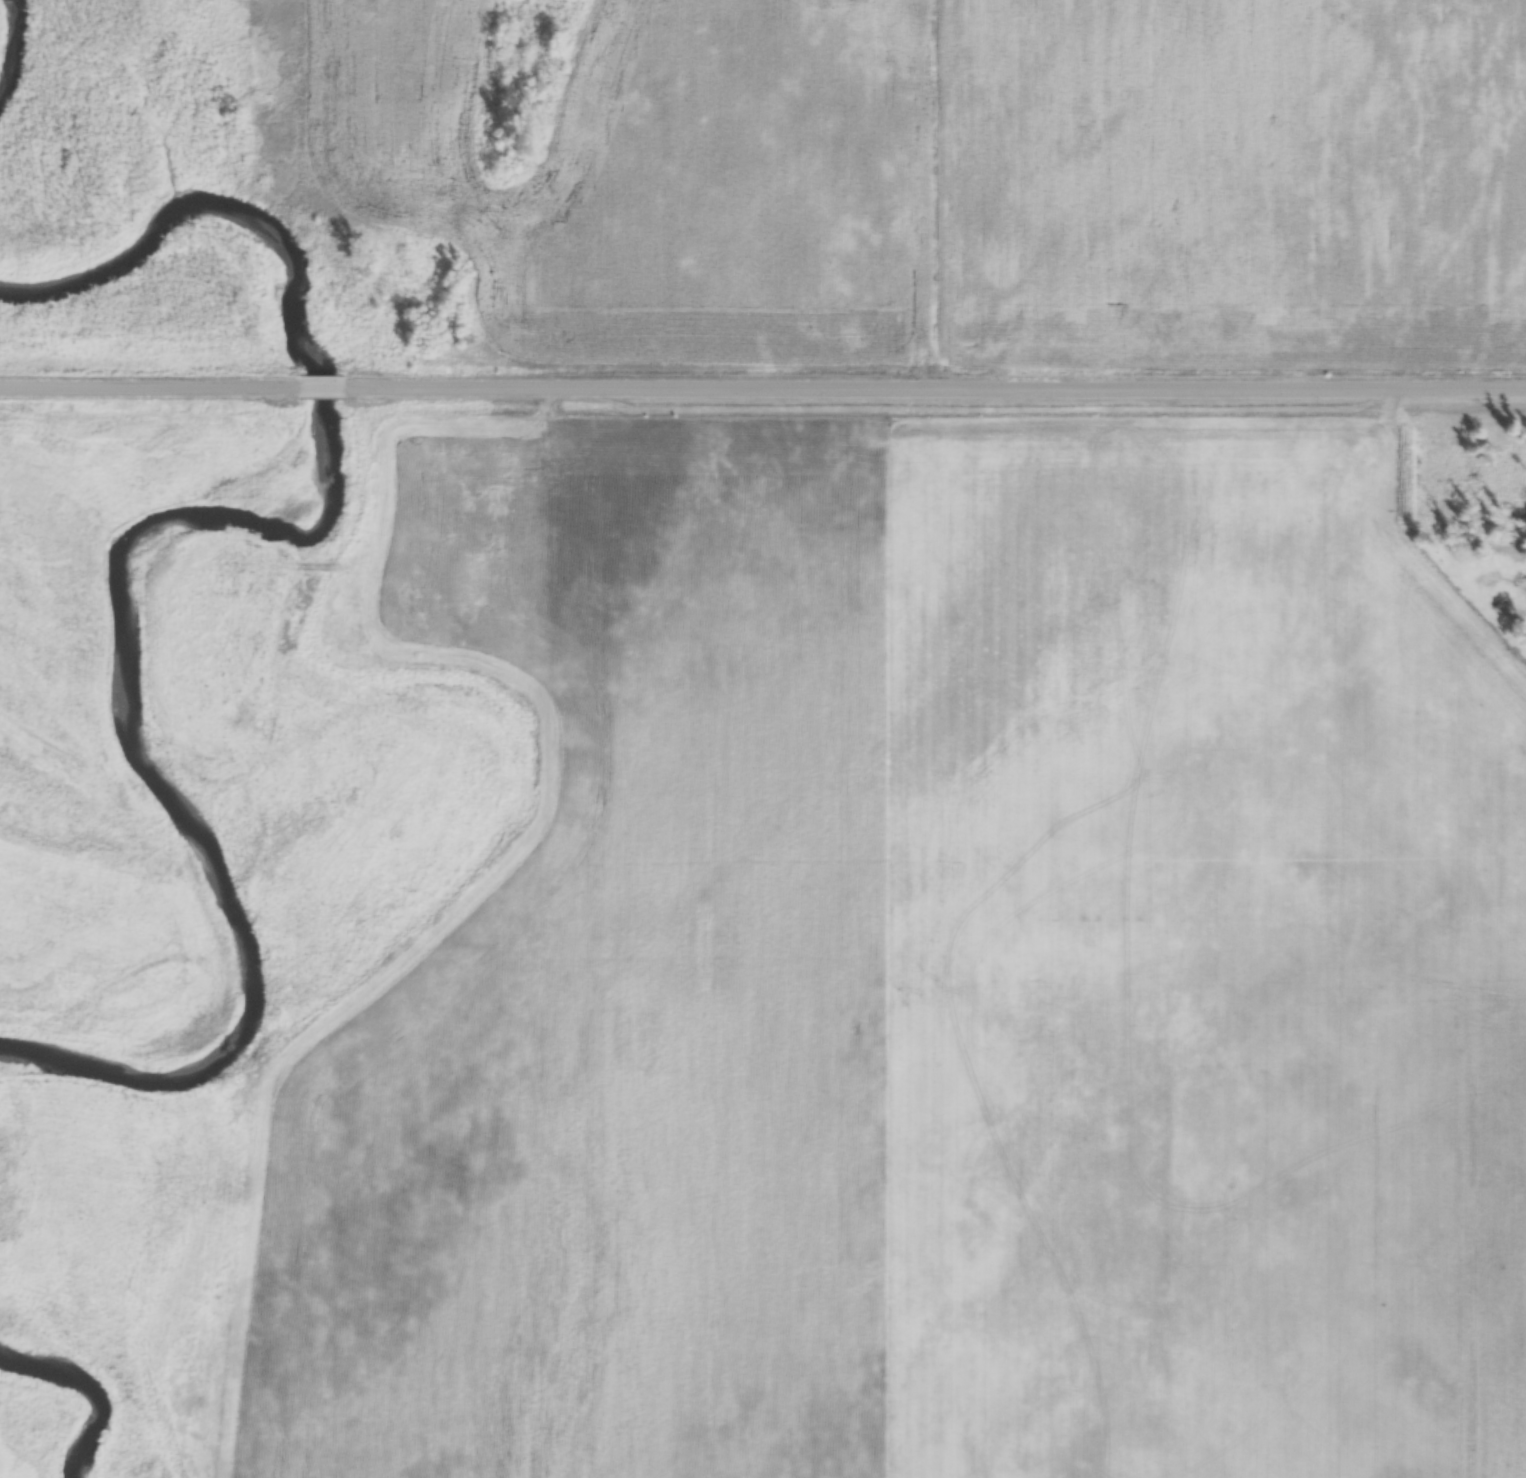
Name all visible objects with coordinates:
river: (8, 20)
road: (935, 386)
road: (322, 388)
road: (150, 389)
river: (154, 533)
river: (85, 1388)

